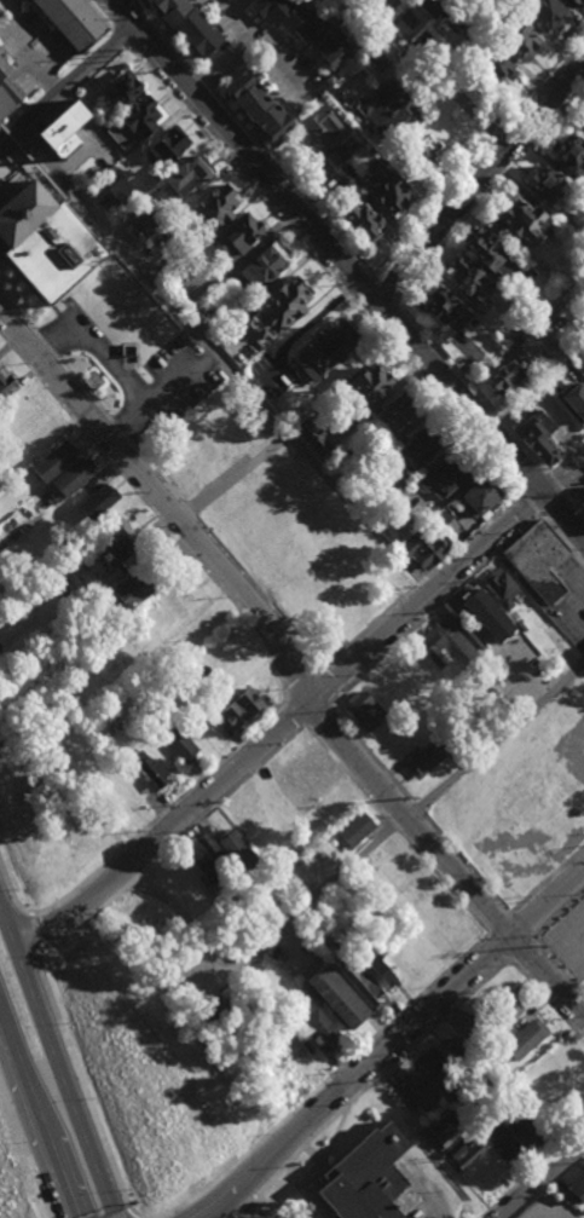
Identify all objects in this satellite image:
building: (579, 1)
building: (429, 7)
road: (127, 11)
road: (100, 12)
building: (550, 13)
building: (71, 21)
road: (5, 24)
building: (186, 25)
building: (303, 28)
road: (117, 34)
road: (162, 36)
building: (524, 41)
road: (231, 51)
road: (34, 59)
building: (499, 68)
road: (197, 77)
road: (216, 77)
road: (68, 82)
building: (125, 87)
building: (6, 92)
building: (256, 106)
building: (387, 110)
building: (578, 116)
building: (135, 122)
building: (325, 126)
building: (62, 129)
building: (168, 145)
road: (478, 151)
building: (337, 155)
building: (562, 156)
road: (479, 175)
building: (185, 177)
road: (290, 181)
building: (534, 184)
building: (386, 187)
road: (488, 187)
building: (120, 189)
building: (215, 207)
building: (362, 220)
building: (513, 221)
building: (146, 225)
building: (237, 235)
building: (46, 242)
road: (330, 246)
building: (490, 254)
building: (264, 266)
road: (323, 267)
building: (469, 282)
road: (360, 285)
road: (386, 288)
building: (277, 308)
building: (444, 310)
road: (383, 311)
building: (326, 350)
road: (97, 351)
road: (227, 357)
building: (580, 364)
building: (504, 377)
building: (5, 382)
road: (467, 385)
building: (368, 388)
road: (162, 393)
building: (572, 402)
building: (398, 414)
building: (312, 437)
building: (536, 438)
building: (426, 444)
road: (563, 455)
building: (54, 461)
road: (565, 473)
road: (233, 474)
building: (449, 474)
building: (71, 479)
road: (161, 481)
road: (533, 481)
road: (555, 483)
road: (576, 485)
power tower: (134, 492)
building: (485, 495)
building: (98, 502)
road: (531, 502)
road: (554, 502)
road: (576, 503)
building: (582, 503)
road: (565, 510)
road: (152, 514)
road: (476, 533)
road: (562, 538)
building: (426, 552)
road: (209, 560)
building: (539, 561)
road: (424, 581)
building: (128, 591)
building: (503, 591)
building: (480, 607)
road: (434, 608)
road: (365, 630)
power tower: (260, 633)
building: (342, 633)
building: (461, 633)
building: (433, 651)
road: (297, 688)
road: (320, 688)
building: (242, 709)
building: (364, 712)
road: (293, 715)
road: (314, 715)
road: (287, 725)
road: (493, 740)
building: (178, 744)
road: (369, 750)
building: (428, 760)
building: (151, 769)
road: (185, 793)
power tower: (407, 800)
road: (418, 807)
road: (204, 813)
building: (358, 827)
road: (394, 829)
building: (236, 848)
building: (204, 858)
road: (467, 862)
road: (324, 887)
road: (30, 910)
road: (559, 914)
road: (495, 916)
road: (521, 923)
road: (499, 945)
power tower: (537, 948)
road: (559, 966)
building: (382, 972)
building: (364, 985)
building: (337, 997)
road: (547, 1001)
building: (505, 1009)
building: (458, 1026)
building: (323, 1029)
building: (525, 1039)
road: (389, 1044)
building: (453, 1050)
road: (354, 1055)
road: (401, 1057)
road: (56, 1058)
building: (432, 1064)
road: (85, 1090)
building: (418, 1091)
road: (37, 1112)
building: (446, 1138)
building: (509, 1138)
building: (458, 1148)
road: (24, 1150)
building: (469, 1155)
road: (461, 1176)
building: (365, 1178)
road: (539, 1181)
road: (261, 1187)
road: (547, 1187)
building: (578, 1190)
road: (243, 1206)
parking lot: (545, 1208)
road: (557, 1213)
parking lot: (288, 1217)

